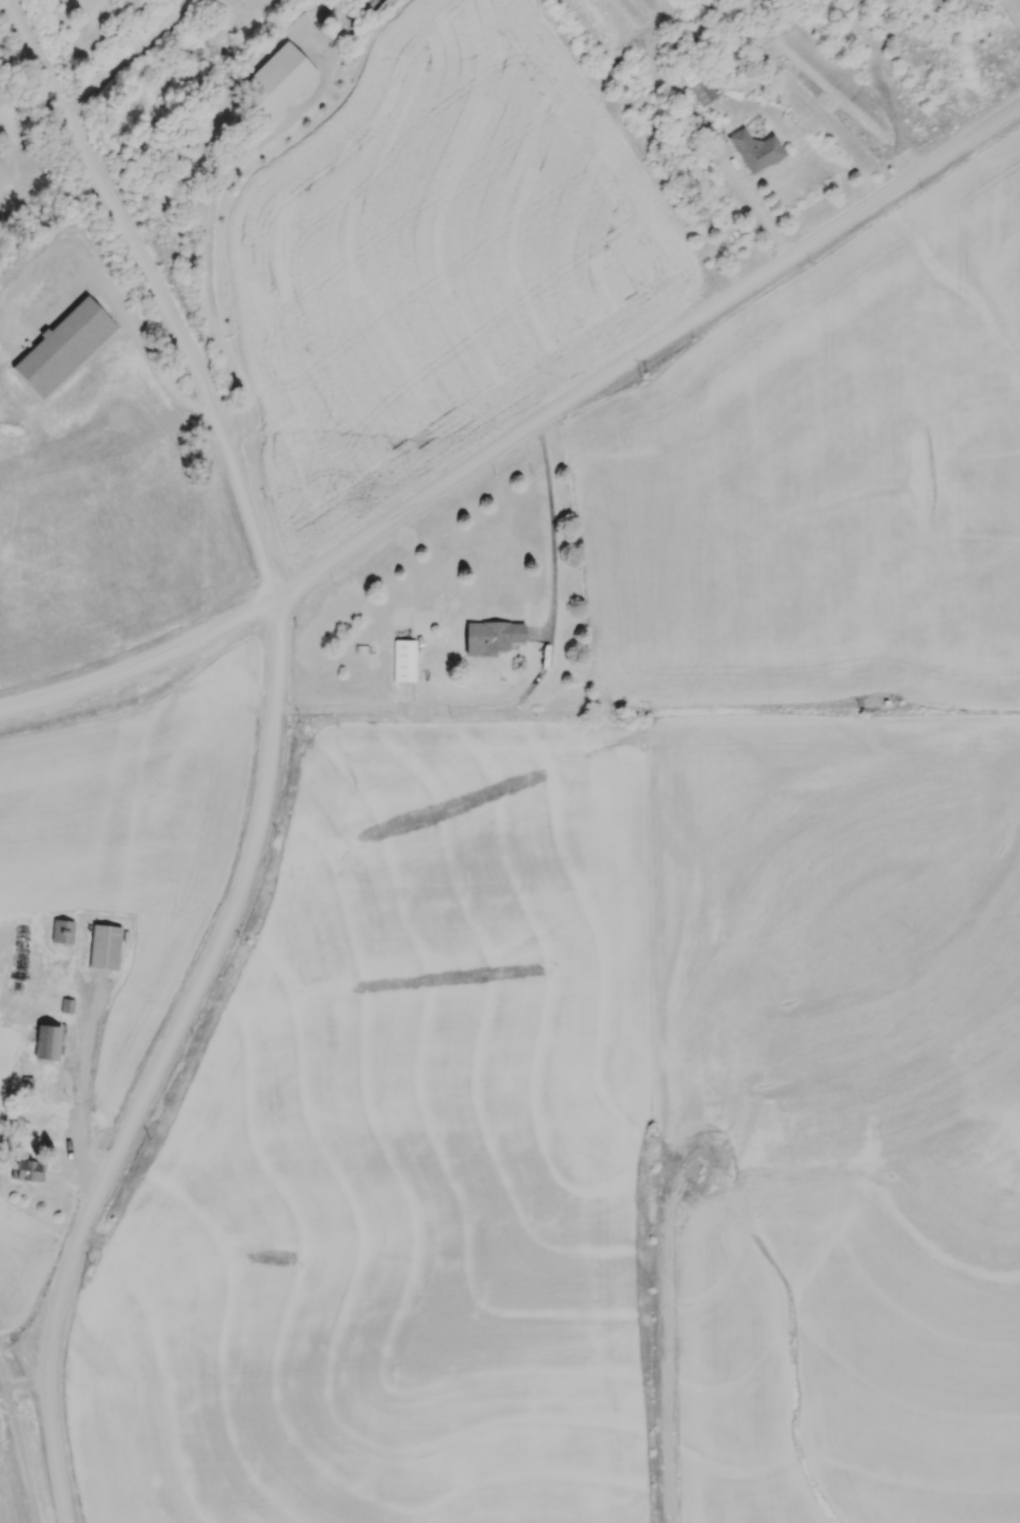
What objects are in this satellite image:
power tower: (648, 53)
road: (14, 54)
road: (132, 58)
building: (279, 79)
building: (698, 85)
building: (755, 149)
road: (15, 162)
road: (214, 190)
road: (752, 197)
crop: (440, 261)
crop: (6, 334)
building: (62, 349)
power tower: (652, 379)
road: (162, 390)
road: (522, 433)
crop: (826, 473)
crop: (92, 540)
building: (491, 636)
building: (404, 658)
road: (536, 687)
building: (884, 702)
road: (684, 707)
power tower: (652, 716)
road: (272, 754)
crop: (130, 829)
building: (62, 931)
building: (104, 946)
building: (67, 1005)
building: (46, 1042)
crop: (5, 1058)
road: (82, 1088)
power tower: (659, 1135)
crop: (595, 1144)
building: (28, 1170)
crop: (23, 1262)
road: (29, 1384)
road: (21, 1442)
road: (677, 1475)

